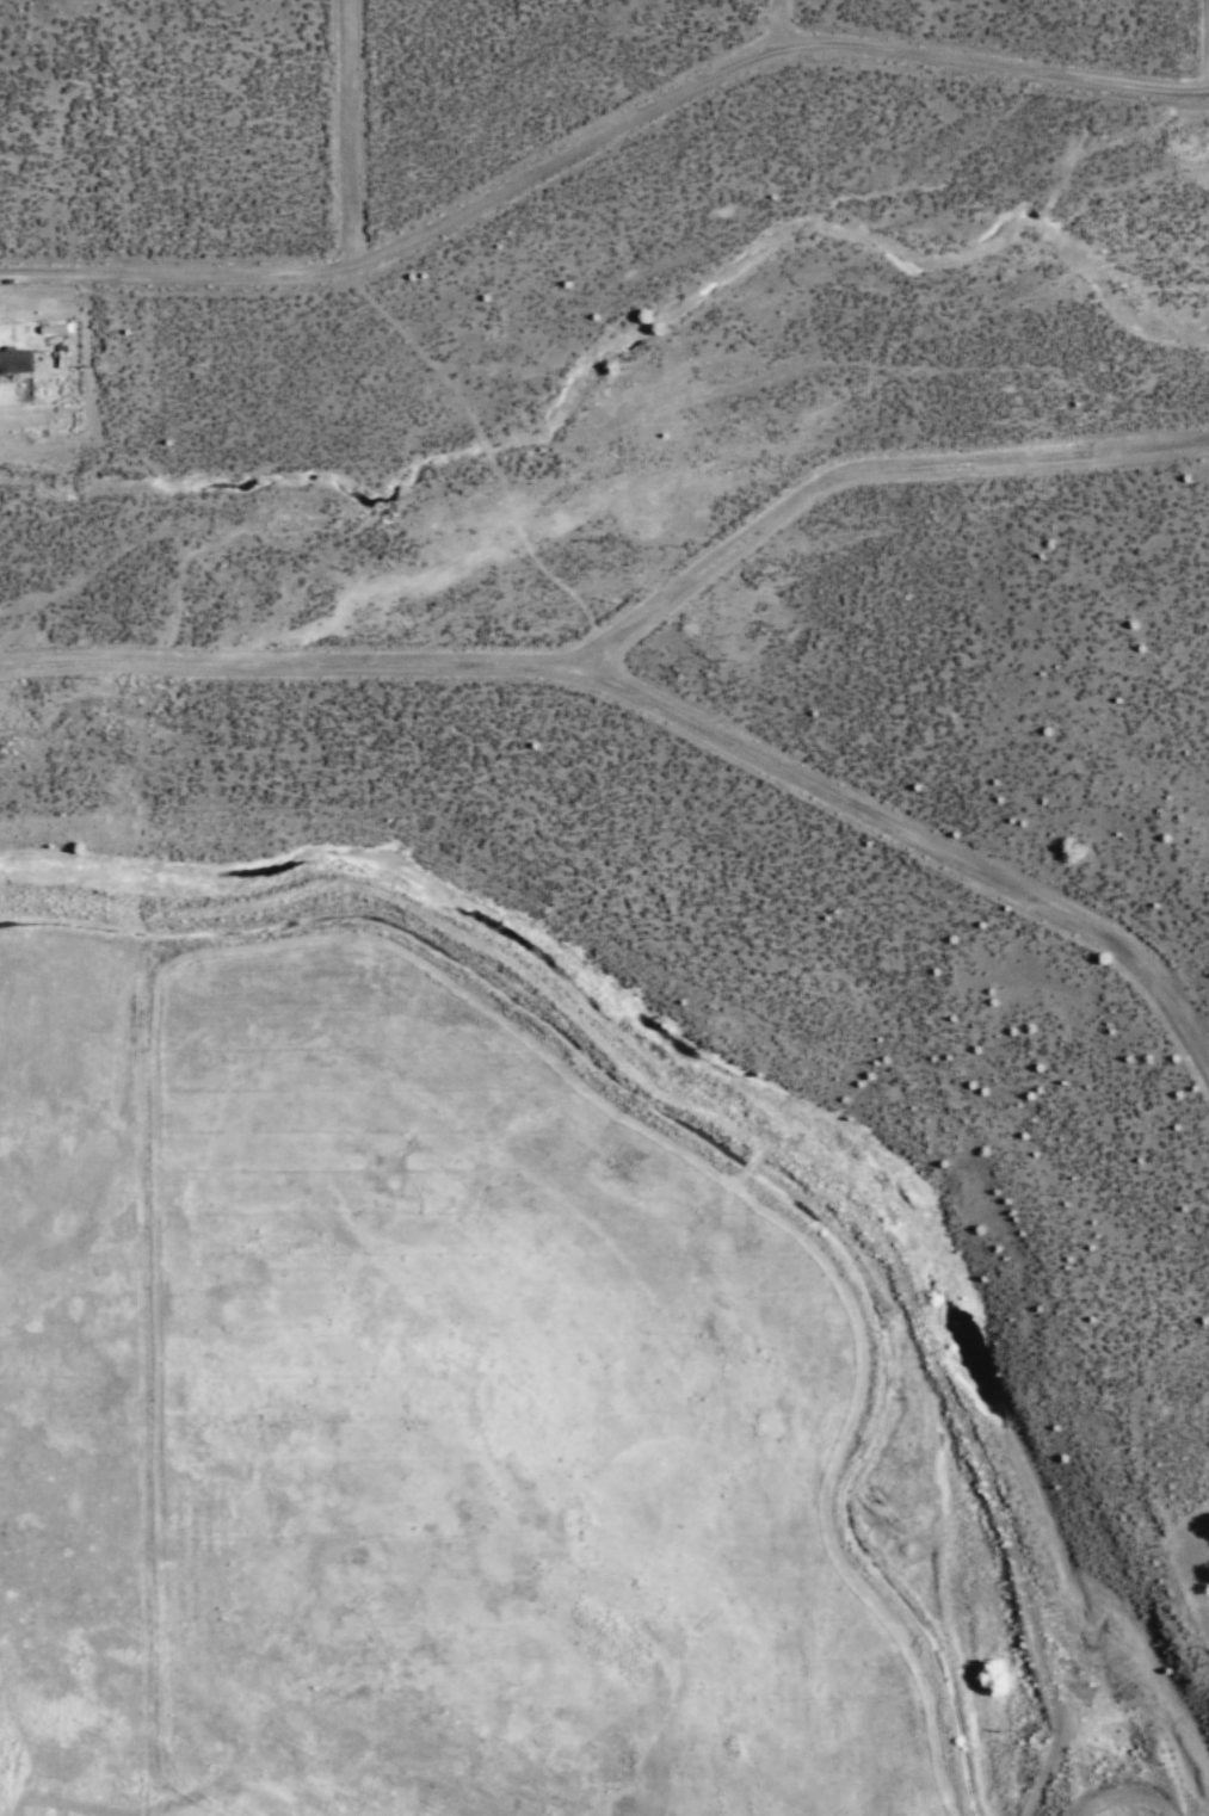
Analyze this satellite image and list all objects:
road: (790, 27)
road: (356, 132)
road: (603, 148)
building: (16, 362)
road: (872, 478)
road: (656, 704)

